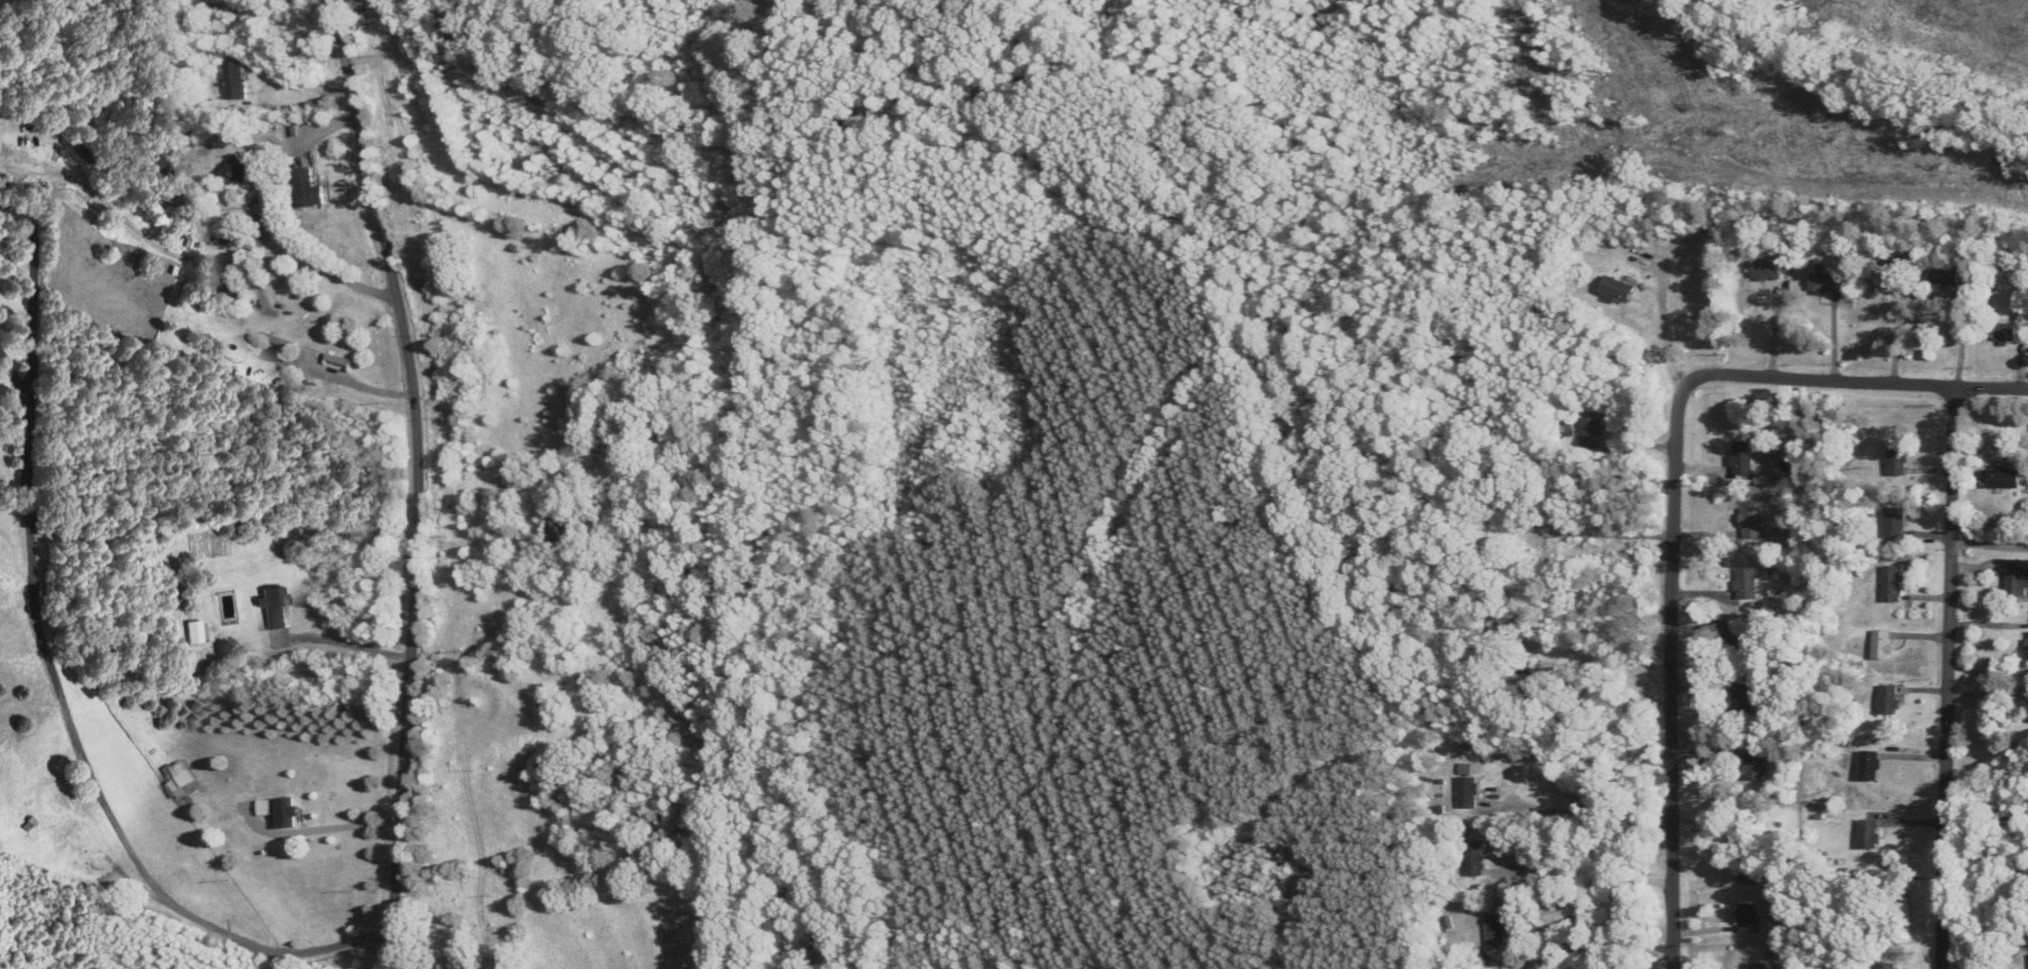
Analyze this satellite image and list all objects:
building: (235, 81)
road: (262, 88)
building: (0, 130)
building: (234, 172)
building: (307, 190)
building: (194, 230)
road: (297, 244)
building: (1769, 270)
building: (1885, 277)
building: (1825, 284)
building: (1617, 290)
building: (293, 300)
road: (1898, 333)
building: (2005, 335)
road: (1962, 338)
building: (278, 341)
building: (338, 360)
road: (19, 371)
road: (1859, 382)
building: (1591, 433)
building: (1742, 459)
building: (1897, 462)
building: (2000, 479)
road: (423, 480)
building: (1751, 522)
building: (1894, 523)
building: (562, 528)
building: (1546, 543)
road: (1990, 544)
building: (2017, 581)
building: (1747, 582)
building: (1892, 583)
building: (273, 607)
building: (193, 632)
building: (1736, 639)
road: (348, 640)
building: (1882, 643)
building: (567, 658)
road: (1678, 674)
road: (61, 675)
road: (1950, 677)
building: (1743, 699)
building: (1888, 699)
building: (1754, 765)
building: (1869, 765)
building: (177, 776)
building: (1467, 792)
building: (264, 808)
building: (286, 812)
road: (1577, 813)
road: (326, 826)
building: (1868, 834)
building: (65, 839)
building: (1475, 858)
road: (1581, 867)
building: (1771, 880)
building: (1747, 918)
building: (1496, 928)
road: (1604, 944)
building: (1759, 965)
building: (1886, 966)
building: (454, 967)

